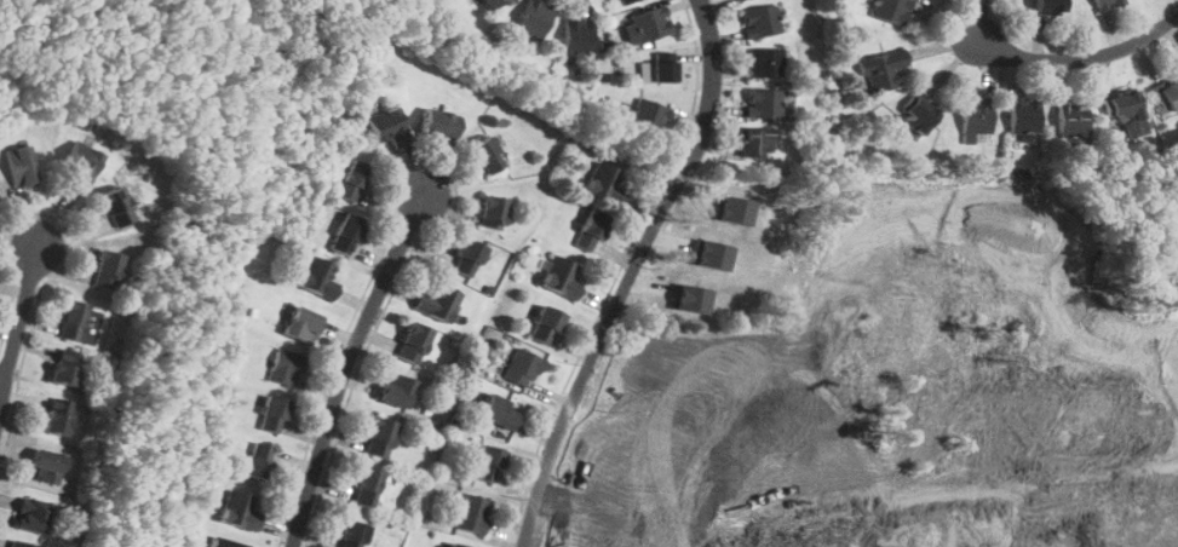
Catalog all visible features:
building: (739, 0)
building: (626, 1)
building: (492, 4)
building: (1107, 4)
building: (1051, 6)
building: (891, 10)
building: (534, 19)
building: (760, 21)
building: (651, 24)
building: (577, 38)
building: (663, 56)
road: (1081, 58)
building: (765, 63)
building: (881, 69)
building: (656, 73)
road: (713, 88)
building: (1165, 96)
building: (764, 104)
building: (1124, 108)
building: (977, 114)
building: (918, 115)
building: (1025, 115)
building: (650, 116)
building: (1071, 117)
building: (439, 125)
building: (389, 126)
building: (754, 143)
building: (485, 154)
building: (81, 166)
building: (21, 167)
road: (683, 177)
building: (352, 180)
building: (603, 183)
building: (116, 207)
building: (735, 209)
building: (493, 212)
building: (592, 229)
building: (346, 234)
building: (713, 253)
building: (467, 258)
building: (107, 270)
building: (561, 277)
building: (318, 278)
building: (693, 298)
building: (439, 304)
building: (73, 321)
building: (303, 324)
building: (545, 326)
road: (19, 328)
road: (943, 332)
building: (413, 342)
road: (597, 359)
building: (523, 364)
road: (347, 365)
building: (286, 367)
building: (65, 368)
road: (4, 378)
building: (395, 390)
building: (500, 411)
building: (272, 414)
building: (58, 416)
building: (379, 437)
building: (260, 461)
building: (488, 463)
building: (46, 467)
building: (367, 486)
building: (239, 511)
building: (471, 513)
road: (700, 513)
building: (33, 516)
building: (351, 534)
building: (223, 542)
building: (25, 543)
building: (455, 546)

